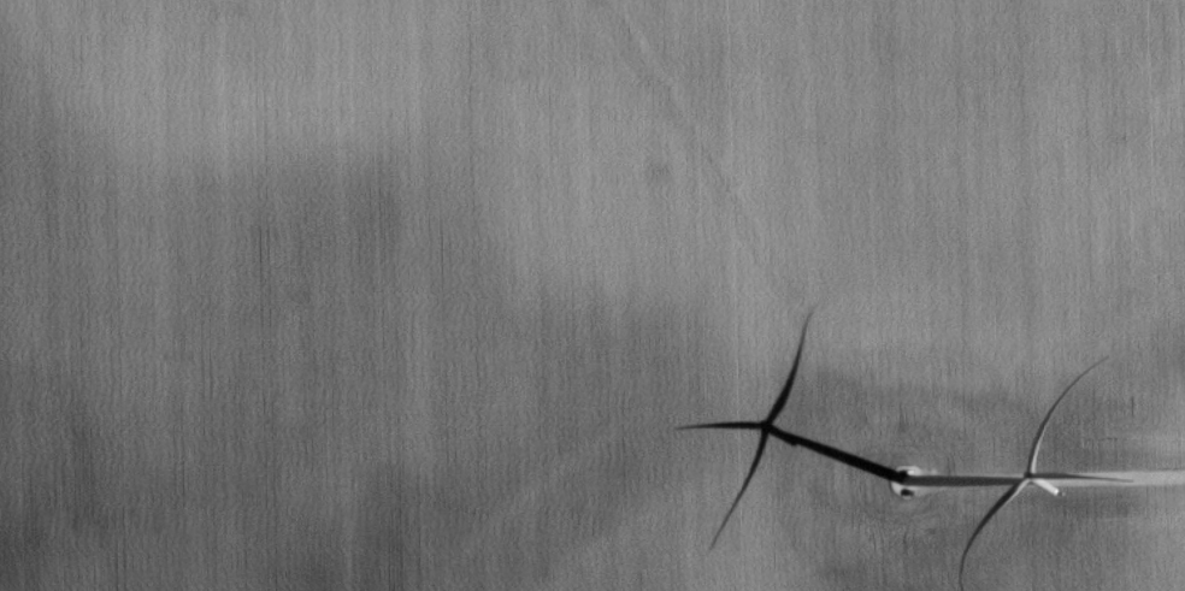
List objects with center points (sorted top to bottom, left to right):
wind turbine: (900, 474)
road: (1056, 477)

